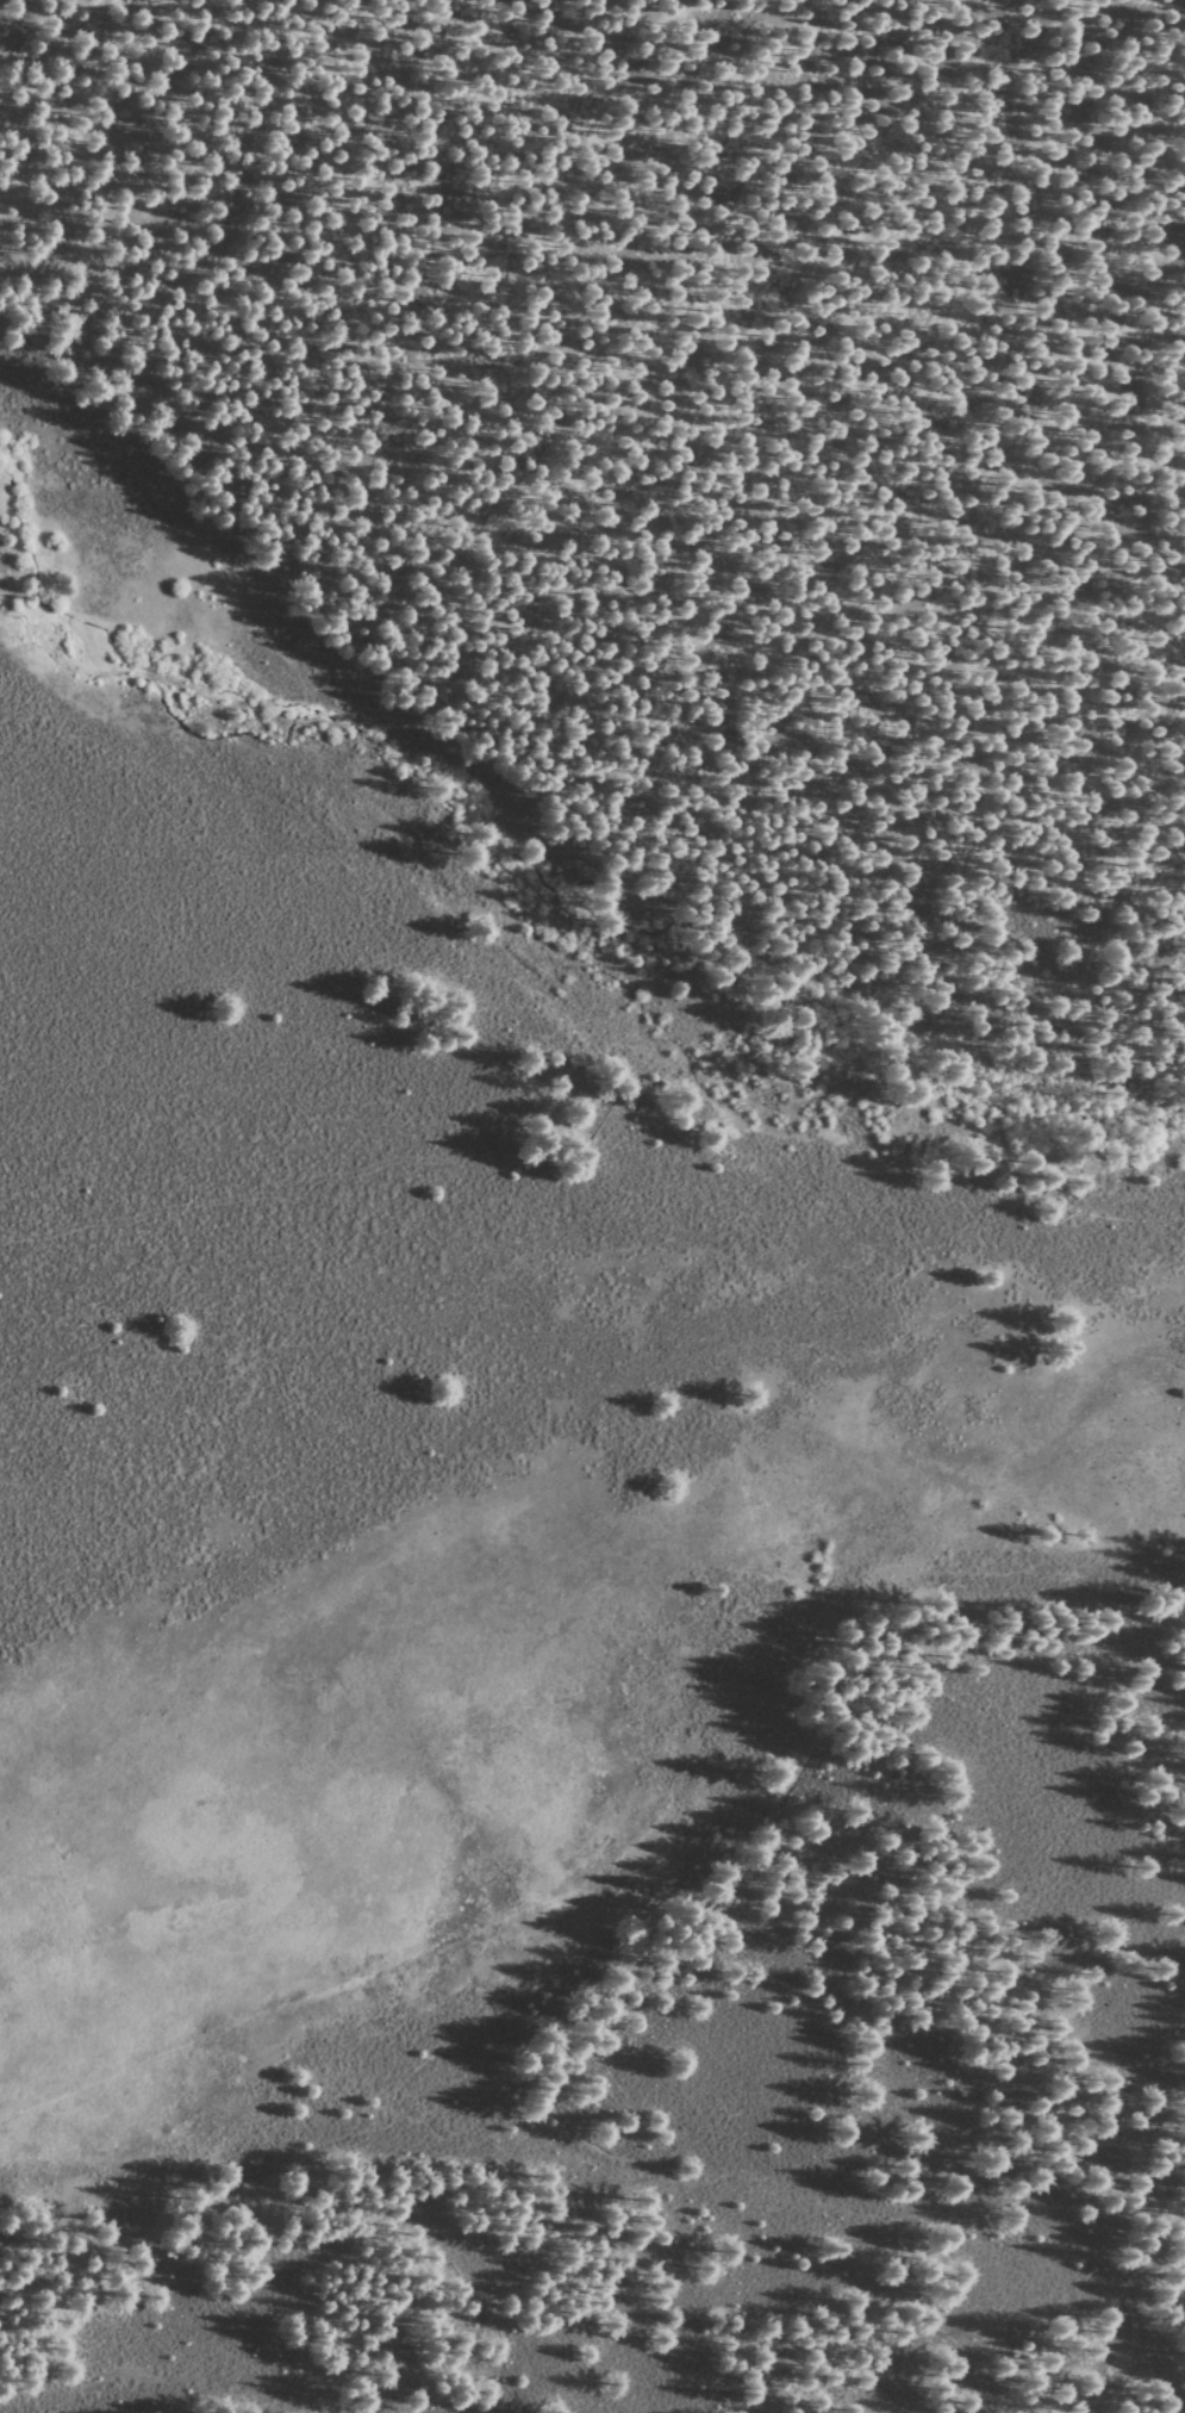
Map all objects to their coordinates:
road: (48, 41)
road: (1017, 348)
road: (591, 817)
road: (1114, 1049)
road: (594, 2025)

